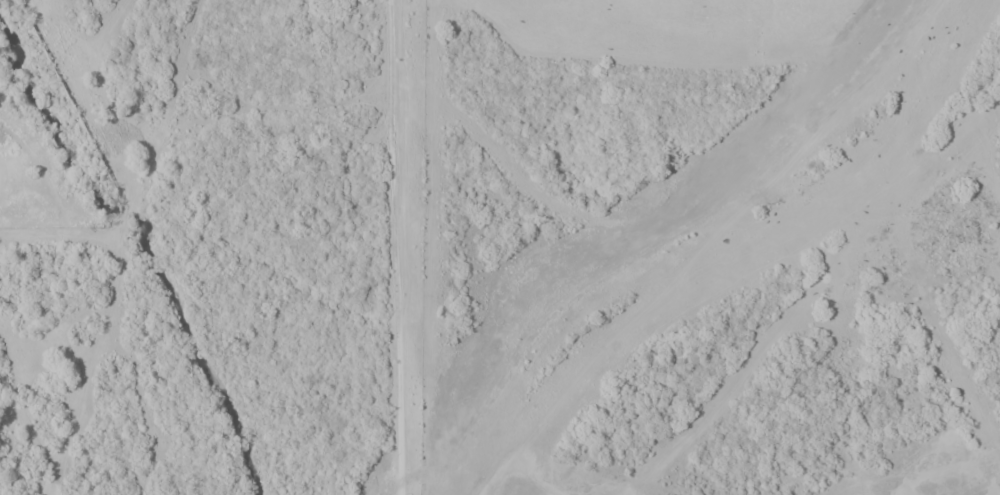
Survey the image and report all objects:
road: (398, 247)

